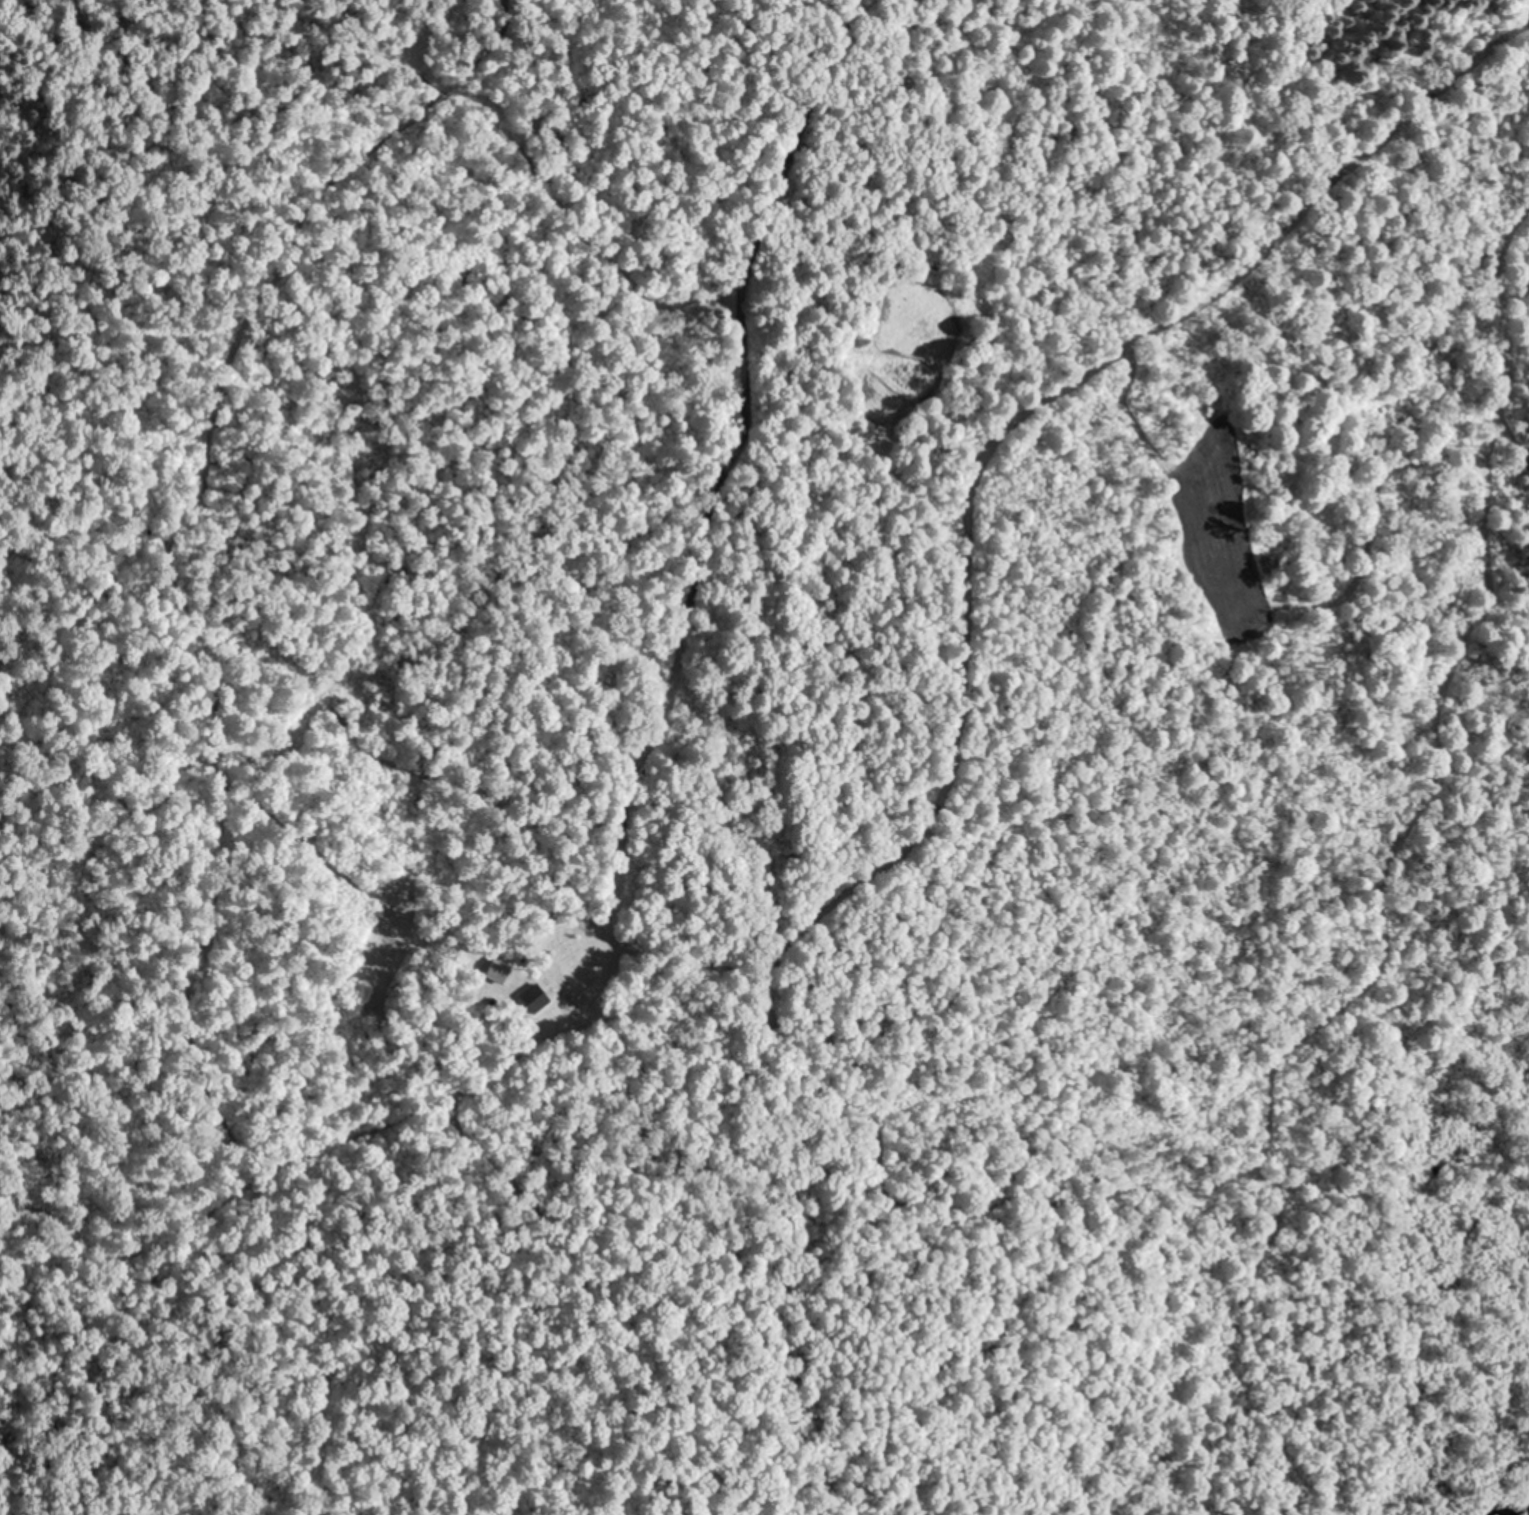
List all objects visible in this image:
building: (500, 972)
building: (536, 1000)

